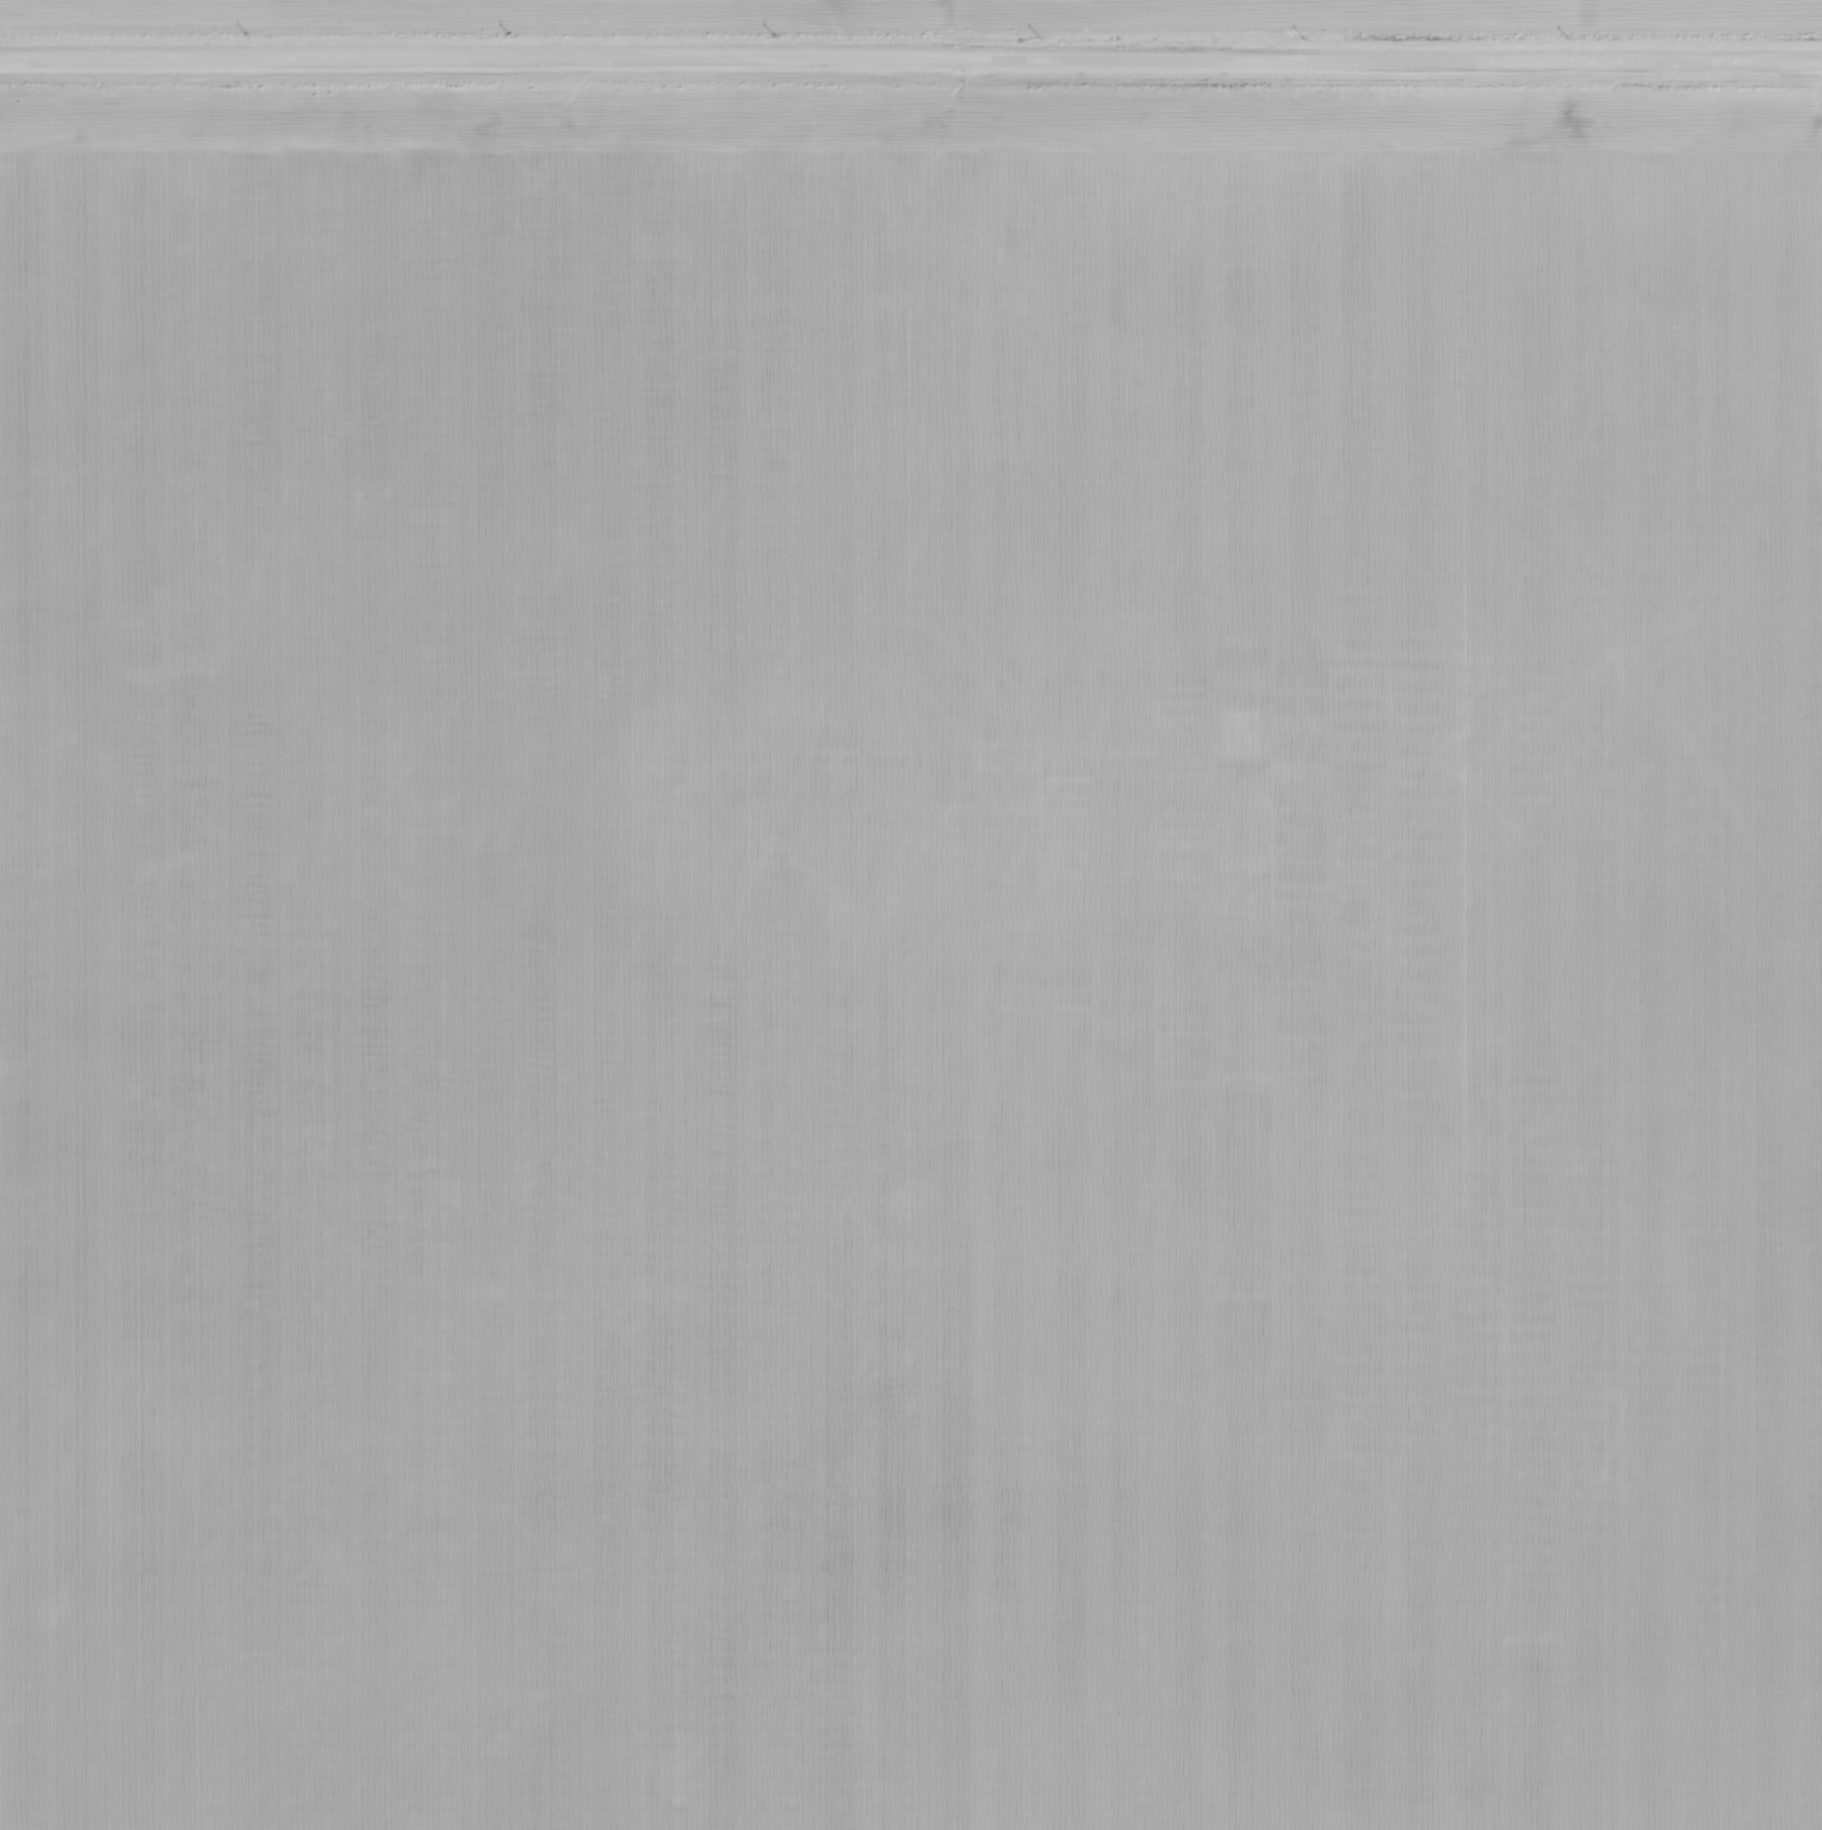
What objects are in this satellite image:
road: (911, 29)

